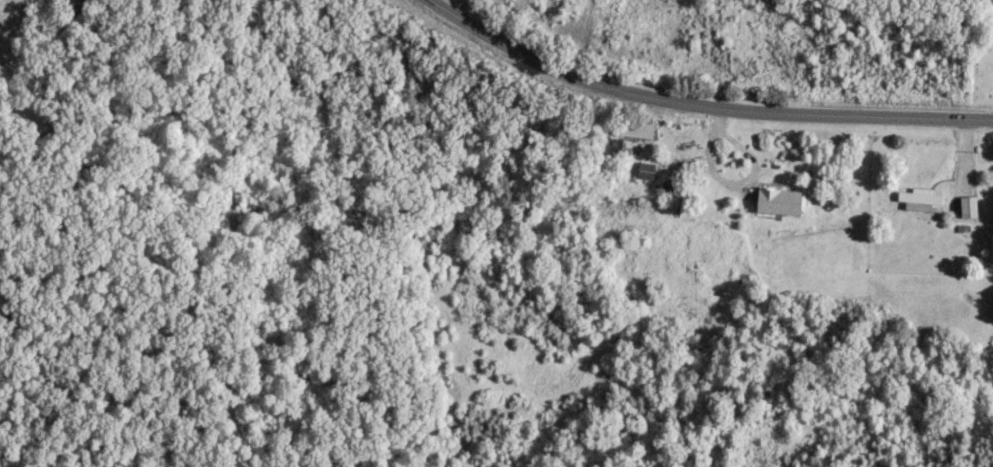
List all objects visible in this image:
park: (980, 53)
road: (700, 103)
building: (630, 126)
building: (645, 168)
building: (919, 197)
building: (778, 198)
building: (966, 204)

